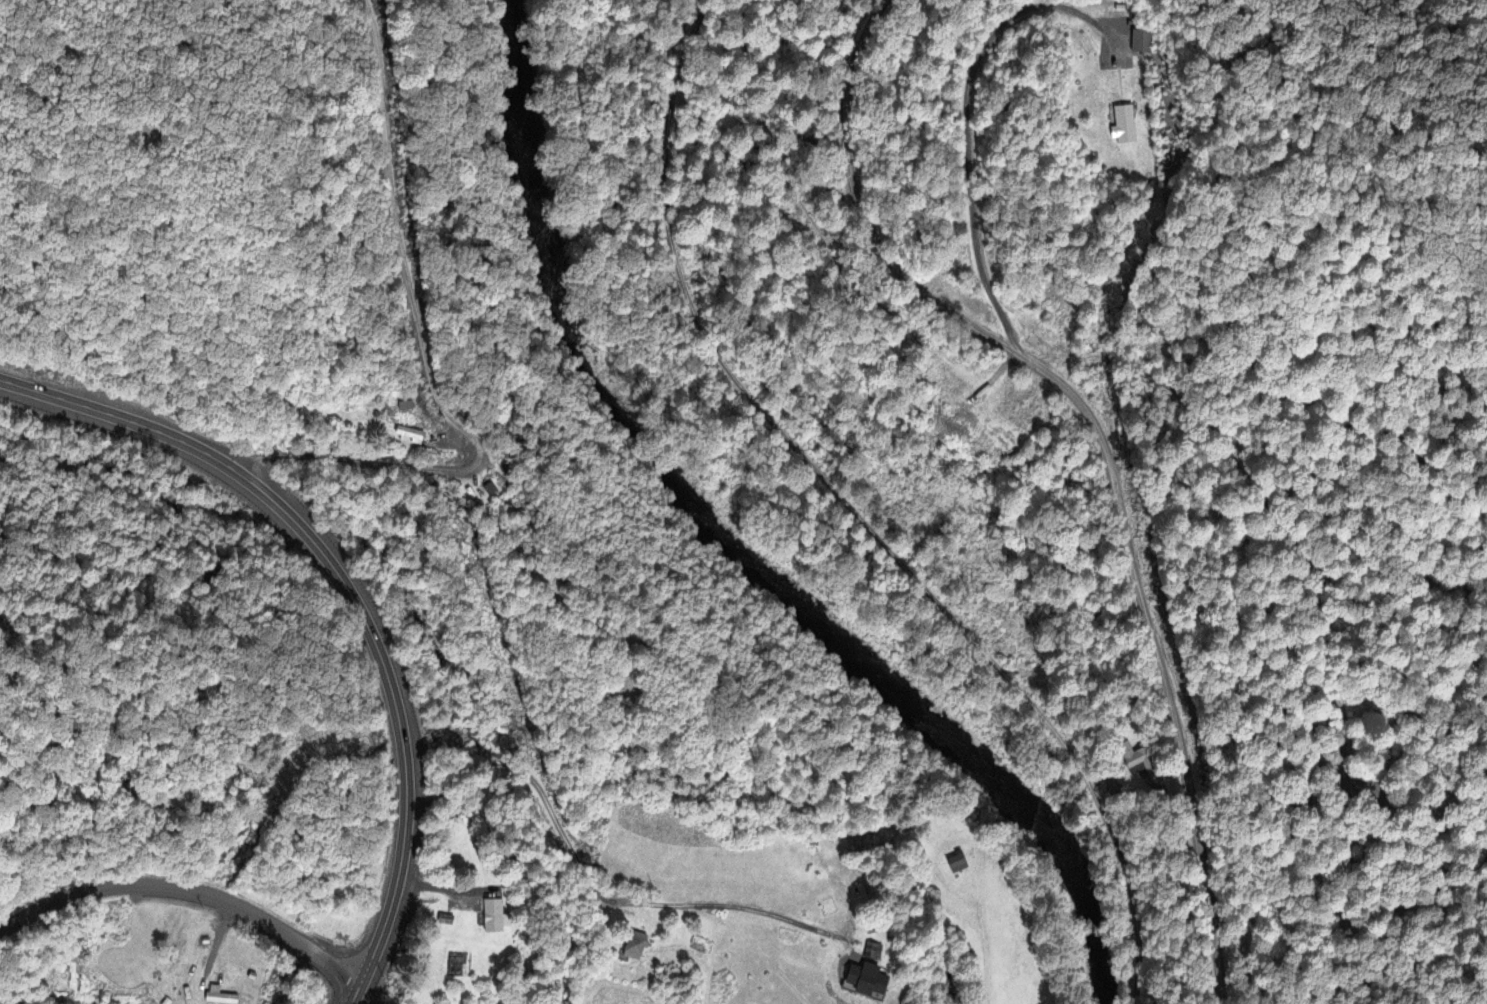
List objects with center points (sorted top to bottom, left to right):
building: (1150, 11)
building: (1142, 39)
building: (1124, 123)
road: (967, 124)
road: (670, 147)
road: (427, 357)
building: (400, 406)
building: (406, 431)
road: (1108, 446)
building: (481, 486)
road: (357, 594)
road: (965, 628)
building: (1139, 758)
building: (955, 862)
road: (188, 888)
building: (628, 910)
building: (493, 916)
building: (633, 944)
building: (870, 950)
building: (218, 997)

